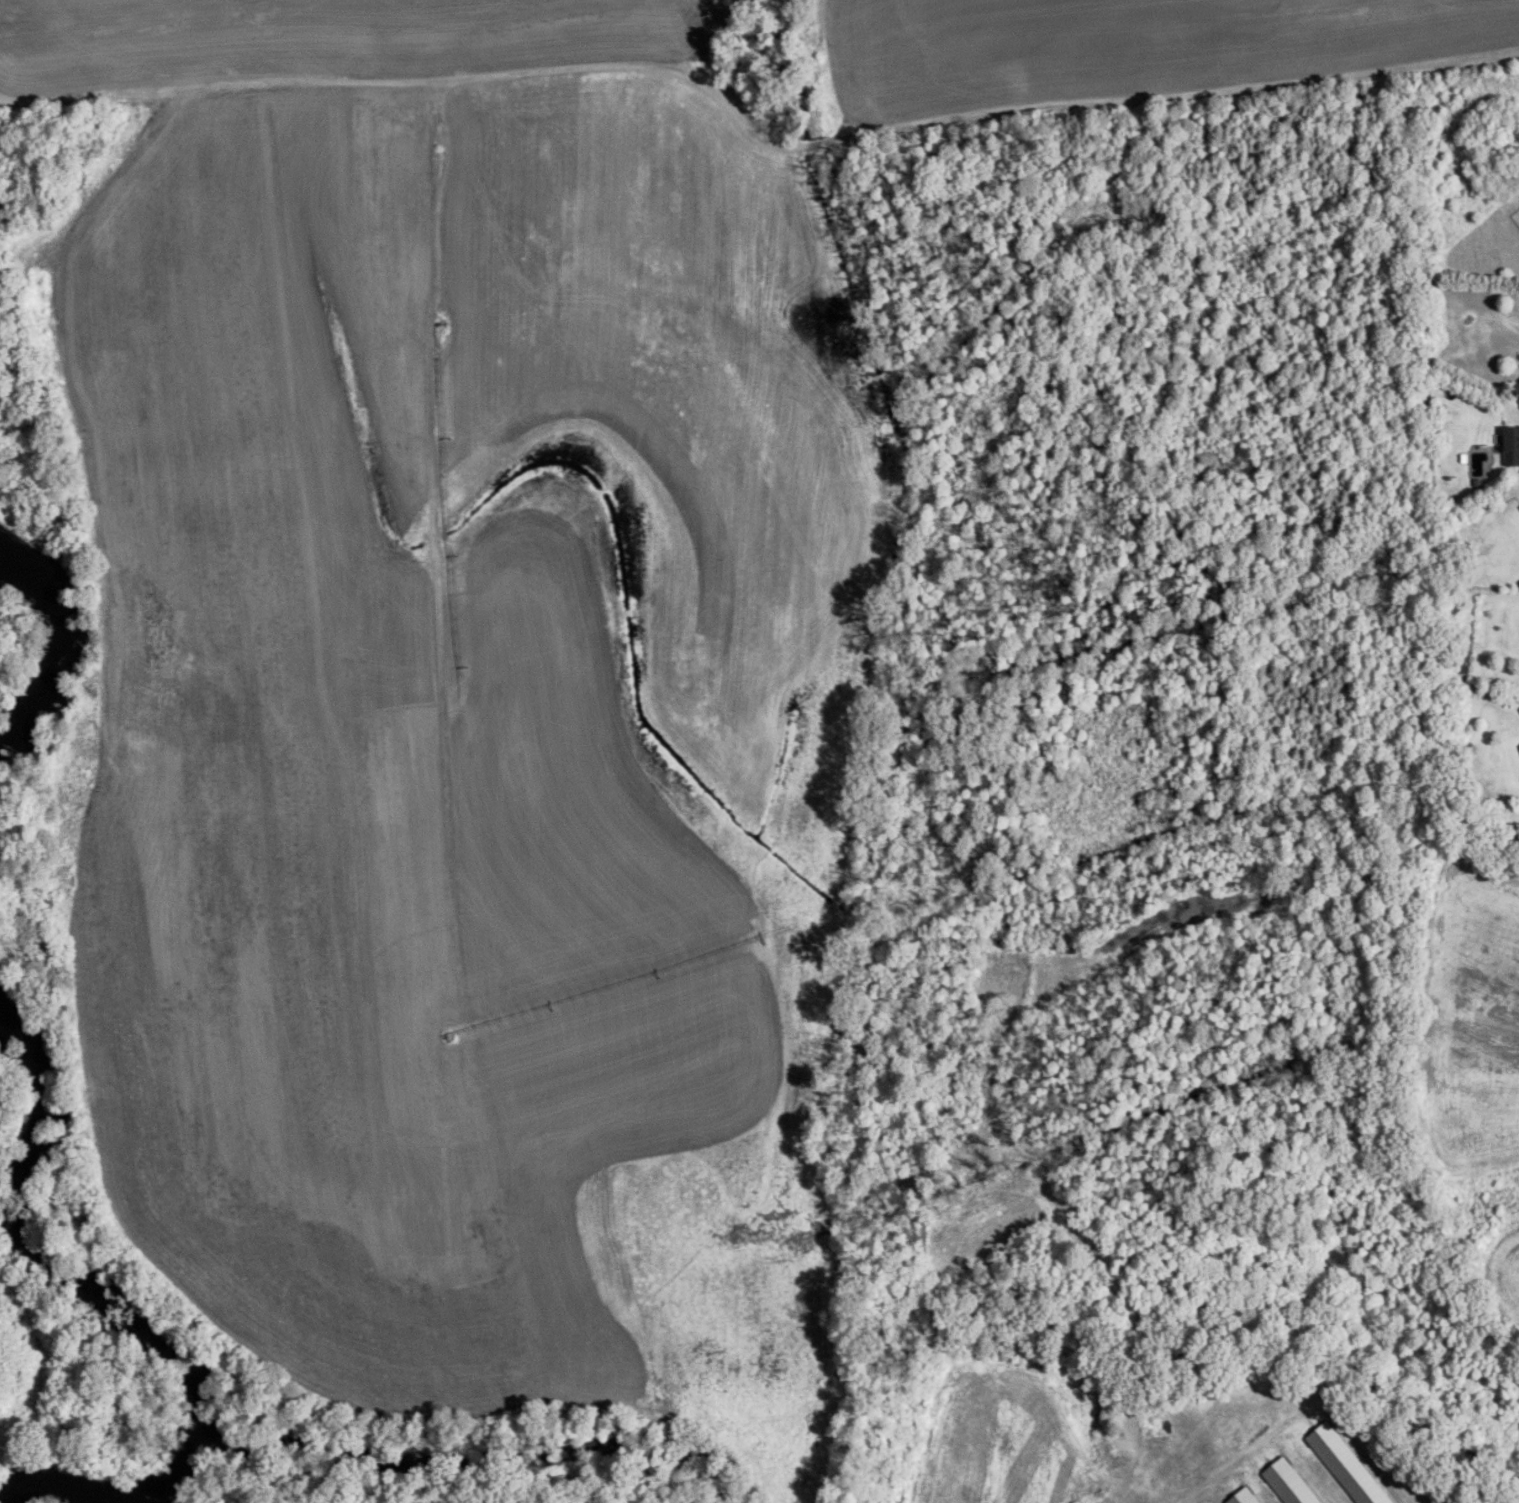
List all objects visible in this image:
building: (1517, 385)
building: (1512, 446)
river: (22, 622)
river: (203, 1418)

